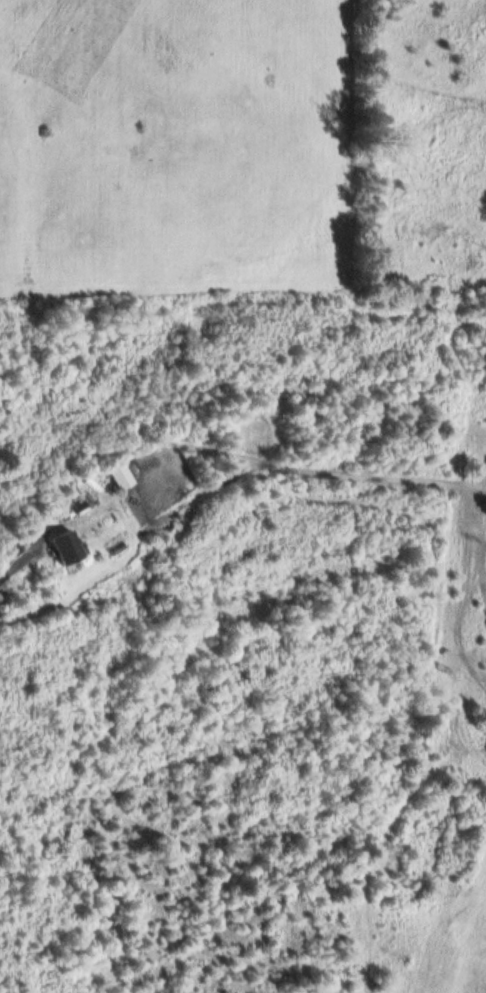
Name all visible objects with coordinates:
building: (118, 473)
building: (62, 544)
road: (16, 561)

